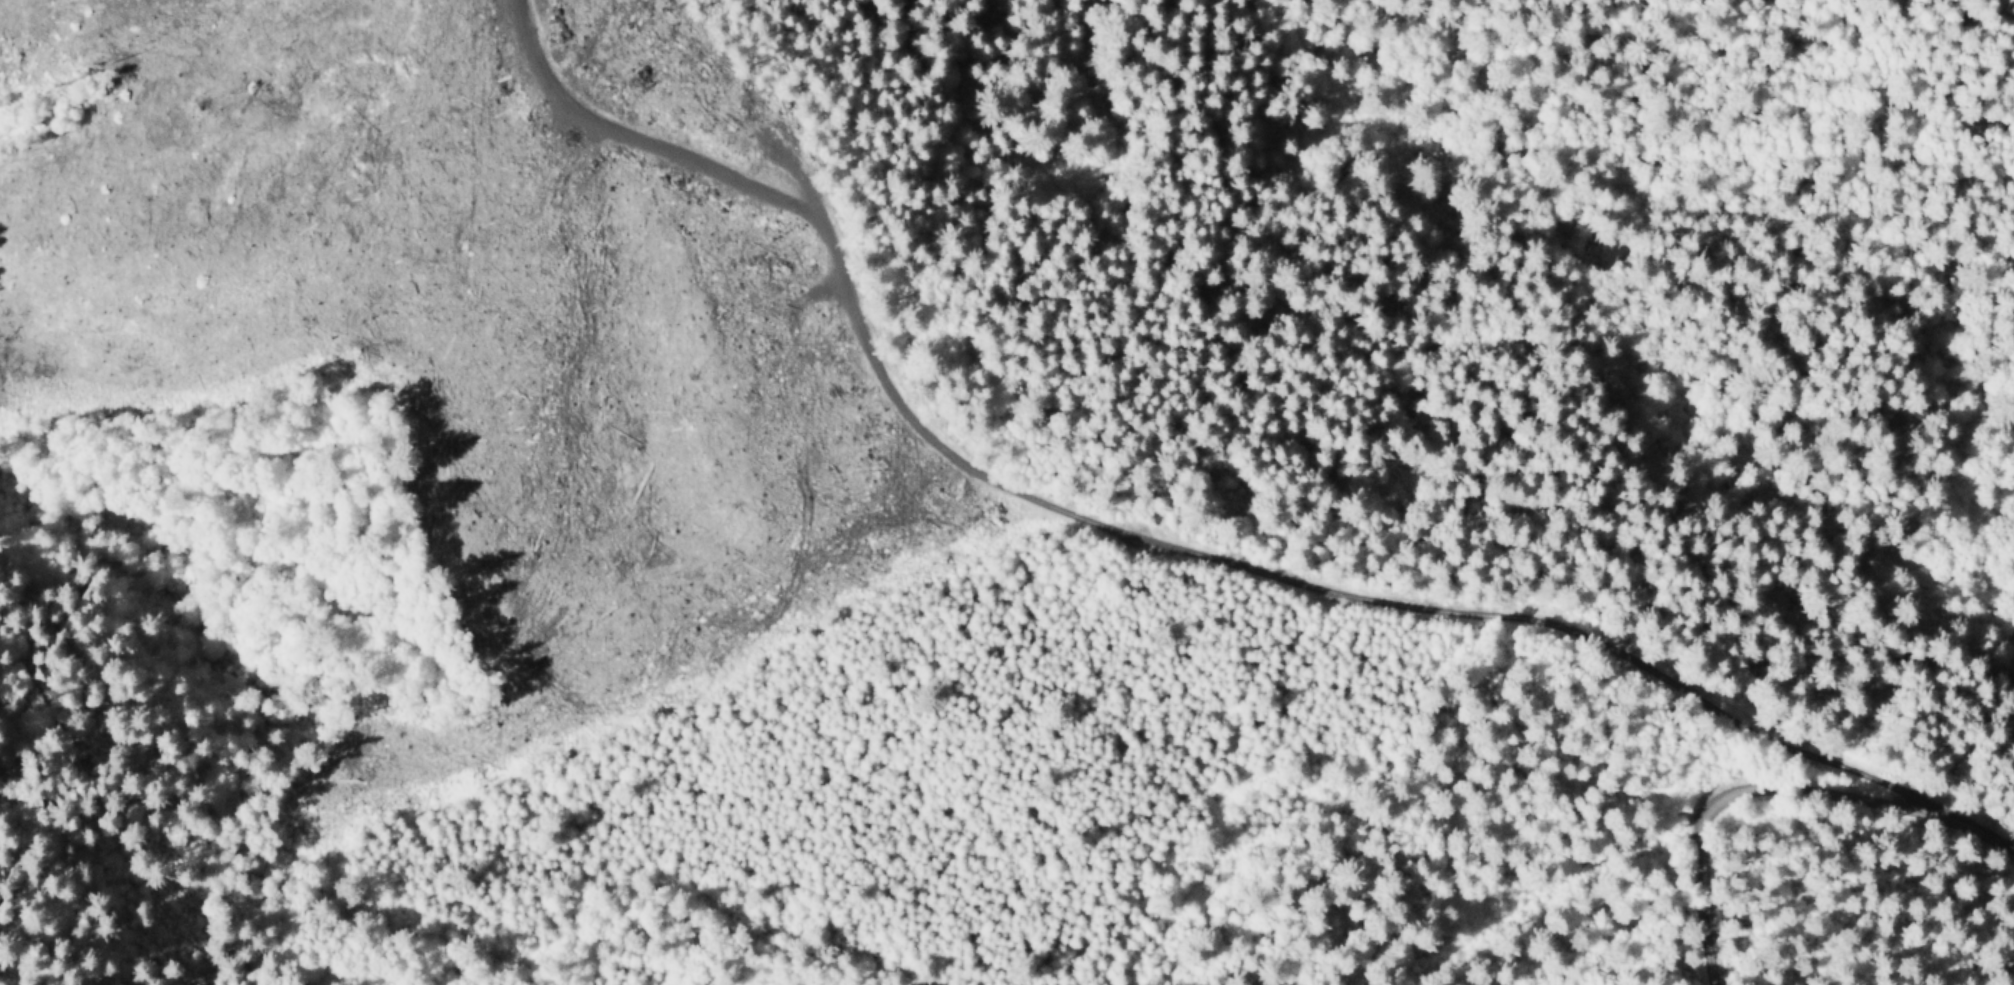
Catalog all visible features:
road: (1770, 791)

